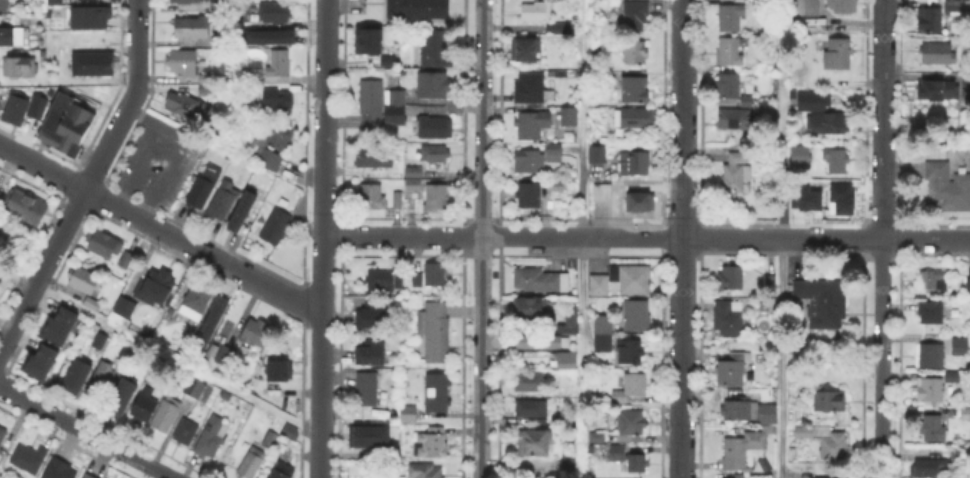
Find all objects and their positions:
building: (170, 0)
building: (55, 2)
building: (187, 2)
building: (221, 5)
building: (842, 5)
building: (5, 6)
building: (953, 6)
building: (416, 9)
building: (47, 11)
building: (534, 12)
building: (276, 13)
building: (632, 13)
building: (807, 13)
building: (931, 16)
building: (90, 17)
building: (730, 17)
building: (560, 28)
building: (194, 30)
building: (11, 35)
building: (267, 36)
building: (83, 38)
building: (366, 39)
building: (433, 50)
building: (520, 52)
building: (729, 52)
building: (938, 52)
building: (838, 53)
building: (633, 54)
building: (385, 59)
building: (765, 60)
building: (90, 63)
building: (184, 63)
building: (281, 65)
building: (19, 69)
building: (256, 72)
building: (556, 74)
building: (965, 82)
building: (931, 86)
building: (429, 87)
building: (527, 88)
building: (207, 89)
building: (49, 91)
building: (633, 91)
building: (732, 92)
building: (391, 94)
building: (808, 98)
building: (278, 100)
building: (34, 105)
building: (369, 106)
building: (13, 107)
building: (186, 107)
building: (393, 116)
road: (580, 118)
road: (882, 119)
building: (633, 120)
building: (541, 121)
building: (733, 122)
building: (827, 124)
building: (71, 128)
building: (427, 128)
building: (603, 137)
building: (274, 147)
road: (176, 150)
building: (800, 153)
building: (433, 154)
building: (595, 156)
building: (535, 159)
building: (374, 160)
building: (835, 161)
road: (780, 162)
building: (634, 163)
road: (135, 164)
building: (412, 169)
building: (734, 175)
road: (89, 181)
building: (550, 187)
building: (946, 188)
building: (411, 191)
building: (203, 192)
building: (601, 193)
building: (526, 196)
building: (840, 196)
building: (803, 197)
building: (367, 198)
building: (396, 199)
building: (434, 199)
building: (2, 200)
building: (223, 201)
building: (634, 204)
building: (27, 209)
building: (240, 210)
building: (278, 227)
road: (159, 229)
building: (12, 232)
road: (602, 237)
road: (480, 238)
road: (926, 238)
road: (322, 239)
road: (682, 239)
building: (106, 246)
building: (127, 260)
building: (433, 275)
building: (631, 279)
building: (416, 280)
building: (730, 280)
building: (378, 281)
building: (396, 281)
building: (930, 281)
building: (87, 282)
building: (538, 282)
building: (770, 284)
building: (598, 286)
building: (968, 288)
building: (158, 289)
building: (199, 304)
building: (822, 304)
building: (95, 305)
building: (528, 310)
building: (124, 312)
building: (929, 313)
building: (570, 315)
building: (635, 317)
building: (212, 318)
building: (727, 318)
building: (370, 319)
building: (60, 323)
building: (254, 331)
building: (602, 331)
building: (434, 333)
building: (97, 339)
building: (538, 340)
building: (958, 348)
road: (158, 350)
building: (629, 350)
building: (220, 353)
road: (581, 357)
building: (928, 357)
building: (369, 358)
road: (779, 358)
road: (880, 358)
building: (37, 360)
building: (565, 362)
building: (279, 369)
building: (731, 370)
building: (74, 374)
building: (103, 381)
building: (529, 384)
building: (630, 387)
building: (195, 389)
building: (365, 390)
building: (434, 391)
building: (928, 392)
building: (275, 393)
building: (121, 395)
building: (826, 398)
building: (143, 405)
building: (737, 408)
building: (529, 410)
building: (405, 411)
building: (765, 412)
building: (168, 417)
building: (965, 417)
building: (630, 423)
building: (932, 431)
road: (87, 432)
building: (292, 432)
building: (188, 434)
building: (366, 435)
building: (3, 437)
building: (214, 438)
building: (597, 438)
building: (271, 440)
building: (833, 443)
building: (430, 445)
building: (742, 445)
building: (532, 446)
building: (792, 452)
building: (958, 454)
building: (620, 458)
building: (29, 459)
building: (253, 464)
building: (568, 464)
building: (928, 468)
building: (58, 469)
building: (423, 471)
building: (287, 472)
building: (88, 476)
building: (397, 476)
building: (442, 477)

